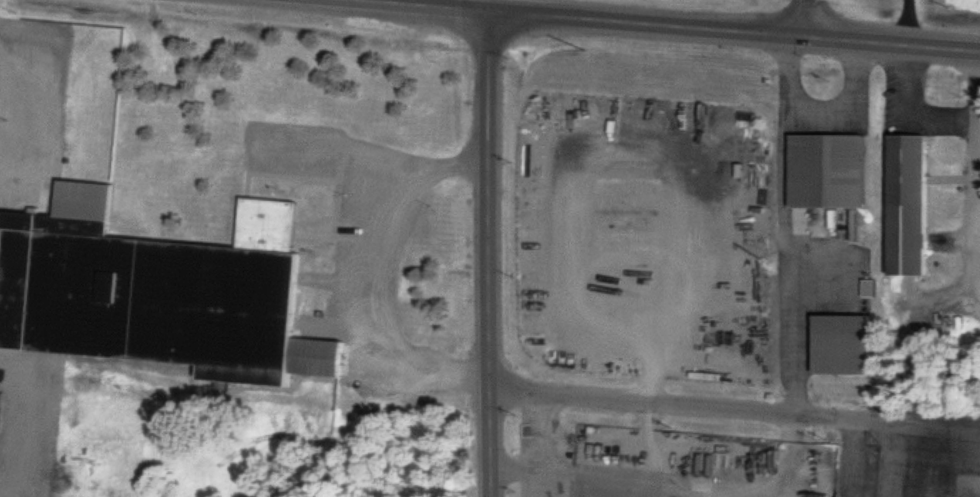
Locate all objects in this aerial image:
road: (490, 7)
road: (807, 18)
road: (659, 26)
road: (853, 108)
road: (905, 115)
road: (609, 137)
road: (976, 147)
road: (337, 151)
building: (831, 167)
building: (911, 201)
road: (787, 224)
road: (979, 246)
road: (490, 255)
road: (978, 270)
road: (370, 275)
building: (157, 288)
building: (845, 339)
building: (0, 396)
road: (677, 404)
road: (878, 419)
road: (26, 421)
road: (936, 425)
road: (642, 438)
road: (541, 445)
road: (890, 459)
road: (676, 476)

